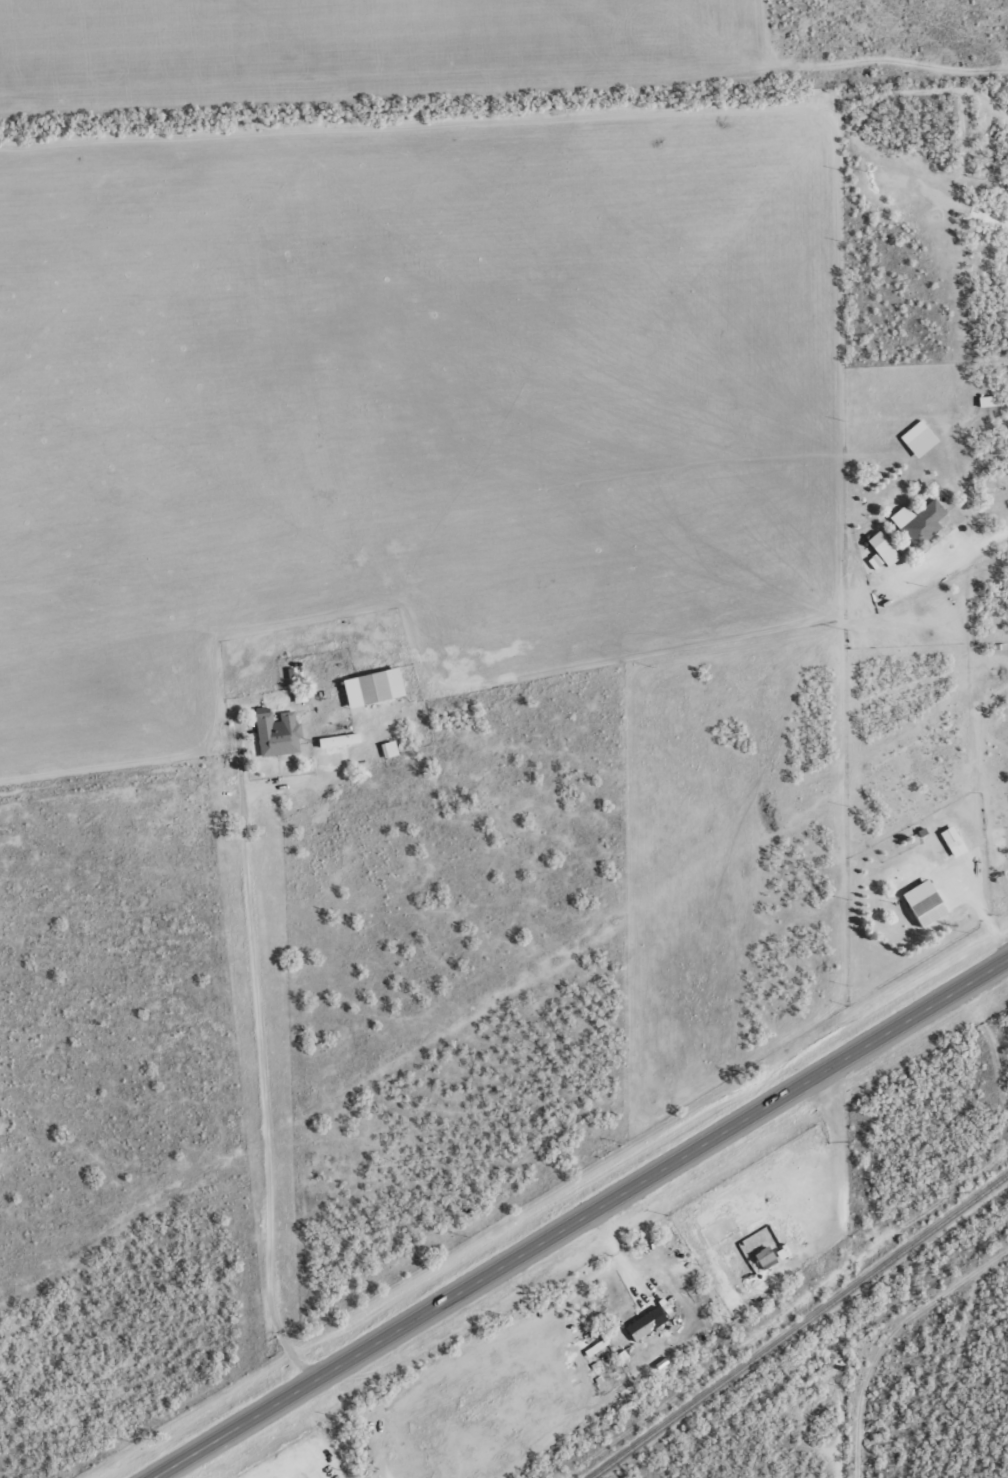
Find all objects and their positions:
building: (988, 401)
building: (919, 522)
building: (882, 552)
building: (293, 673)
building: (374, 687)
building: (277, 733)
building: (340, 740)
building: (389, 749)
building: (953, 842)
building: (925, 904)
road: (595, 1222)
building: (765, 1256)
building: (647, 1323)
railway: (798, 1325)
road: (955, 1361)
road: (835, 1422)

